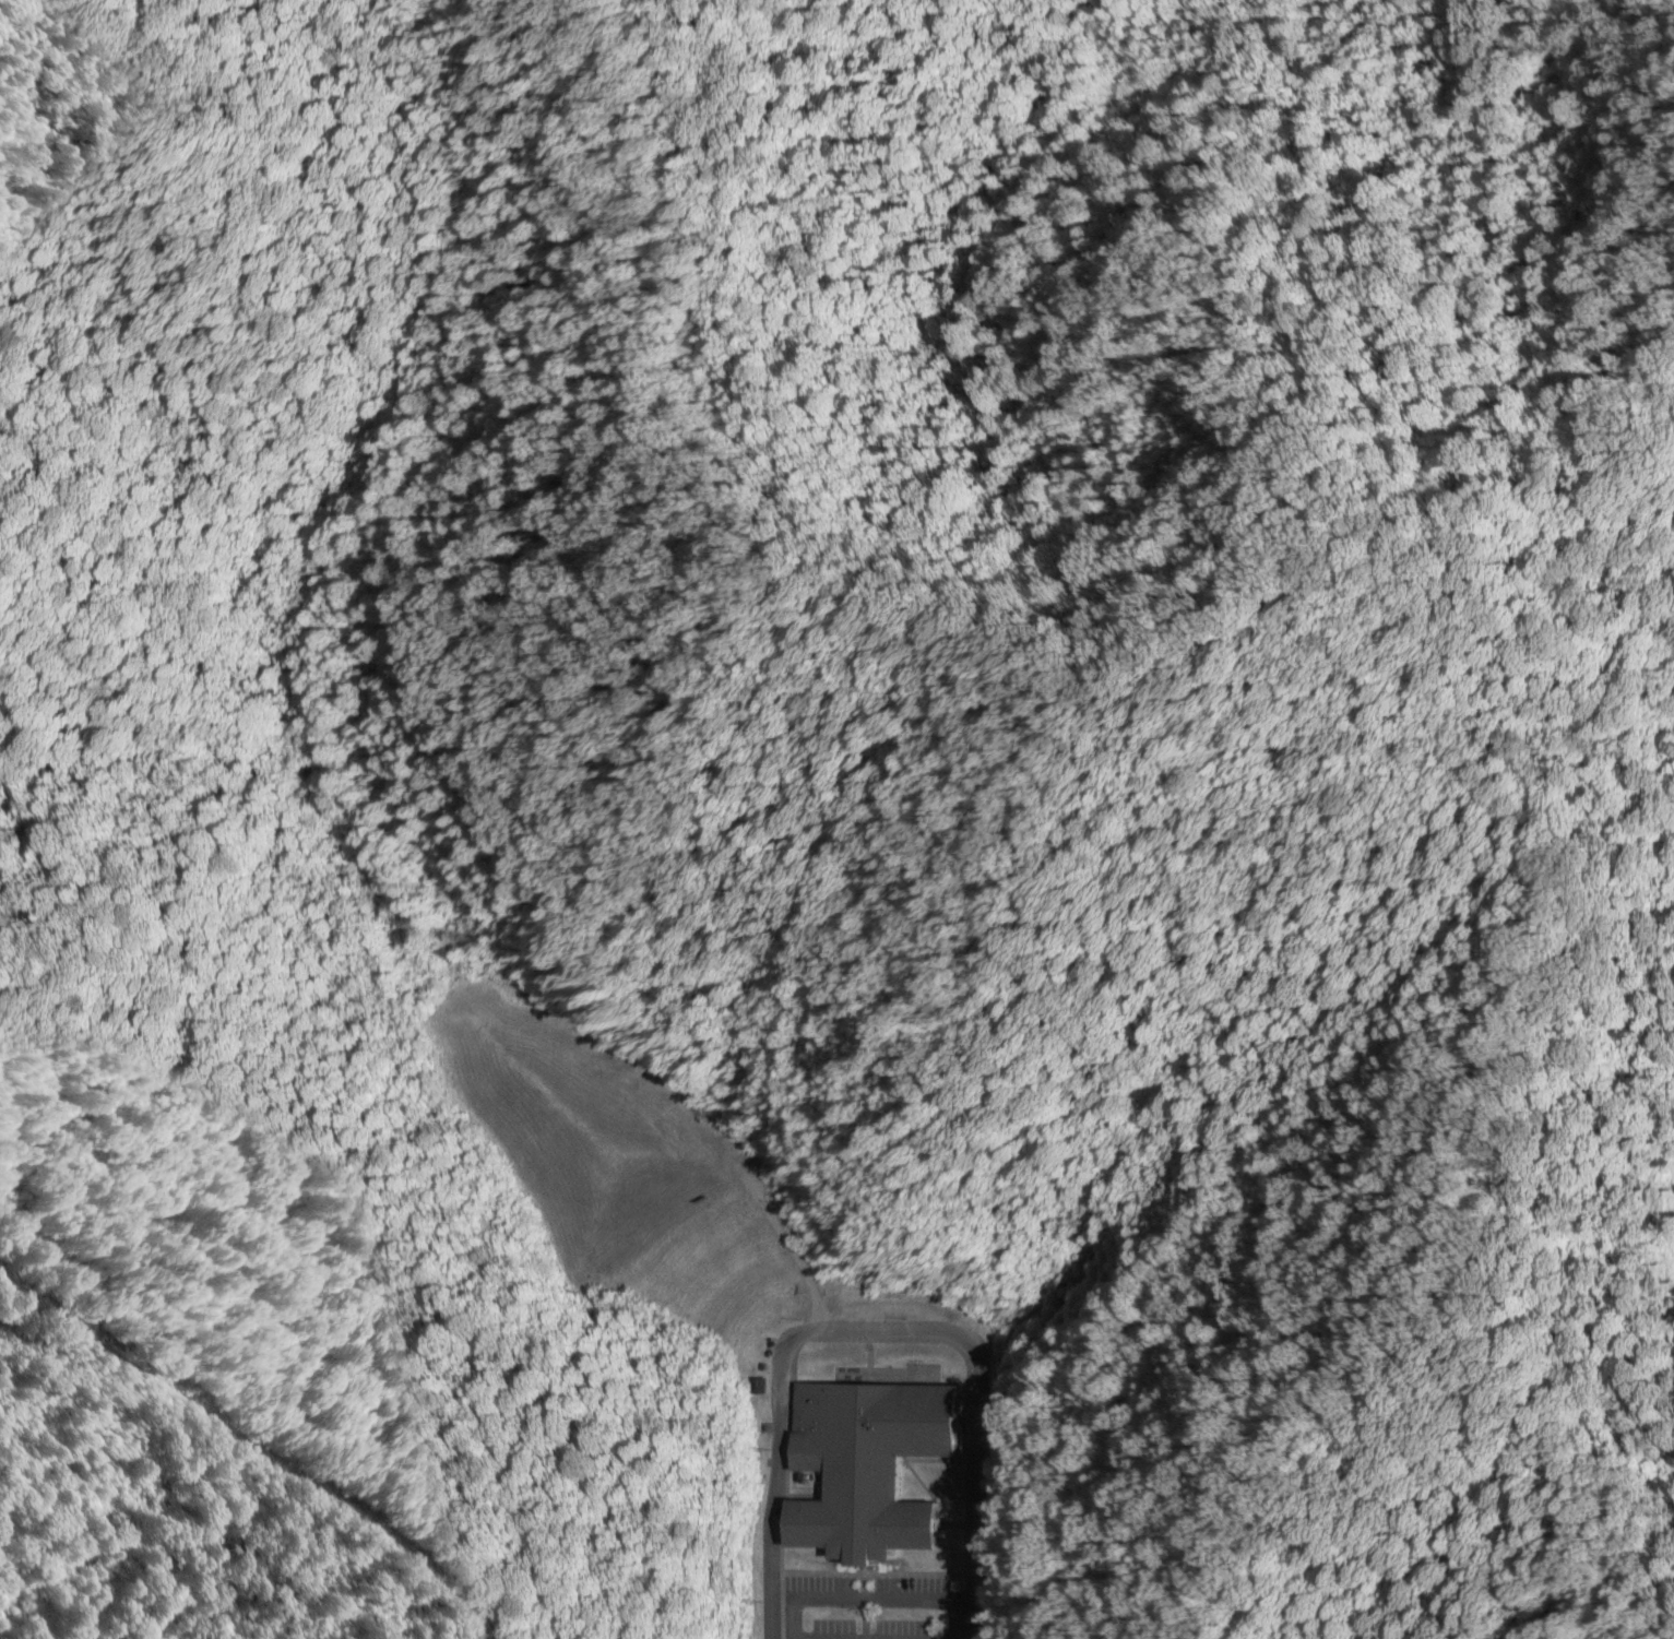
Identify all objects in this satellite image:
road: (878, 1334)
building: (867, 1466)
road: (1673, 1560)
road: (871, 1599)

